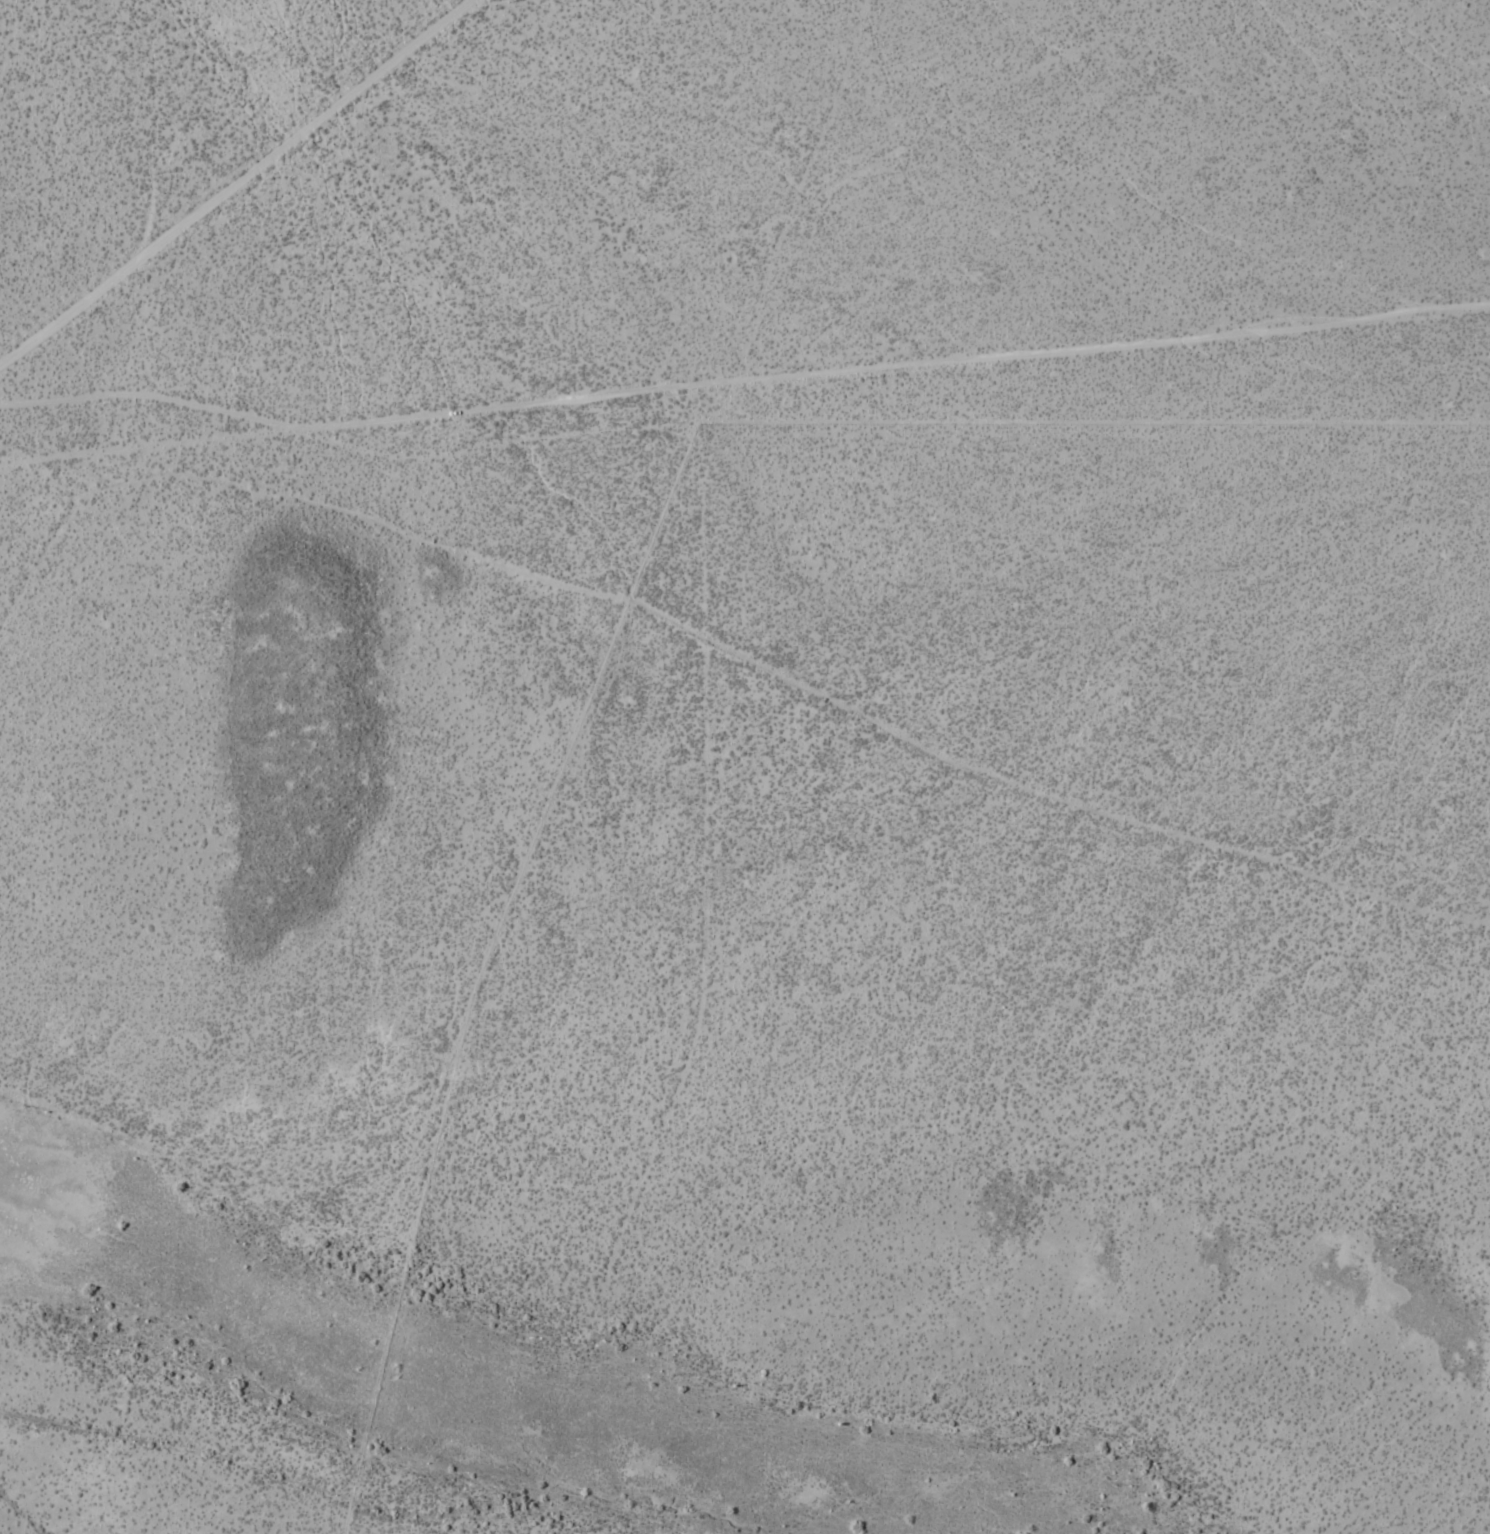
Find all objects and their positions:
road: (231, 178)
road: (745, 349)

